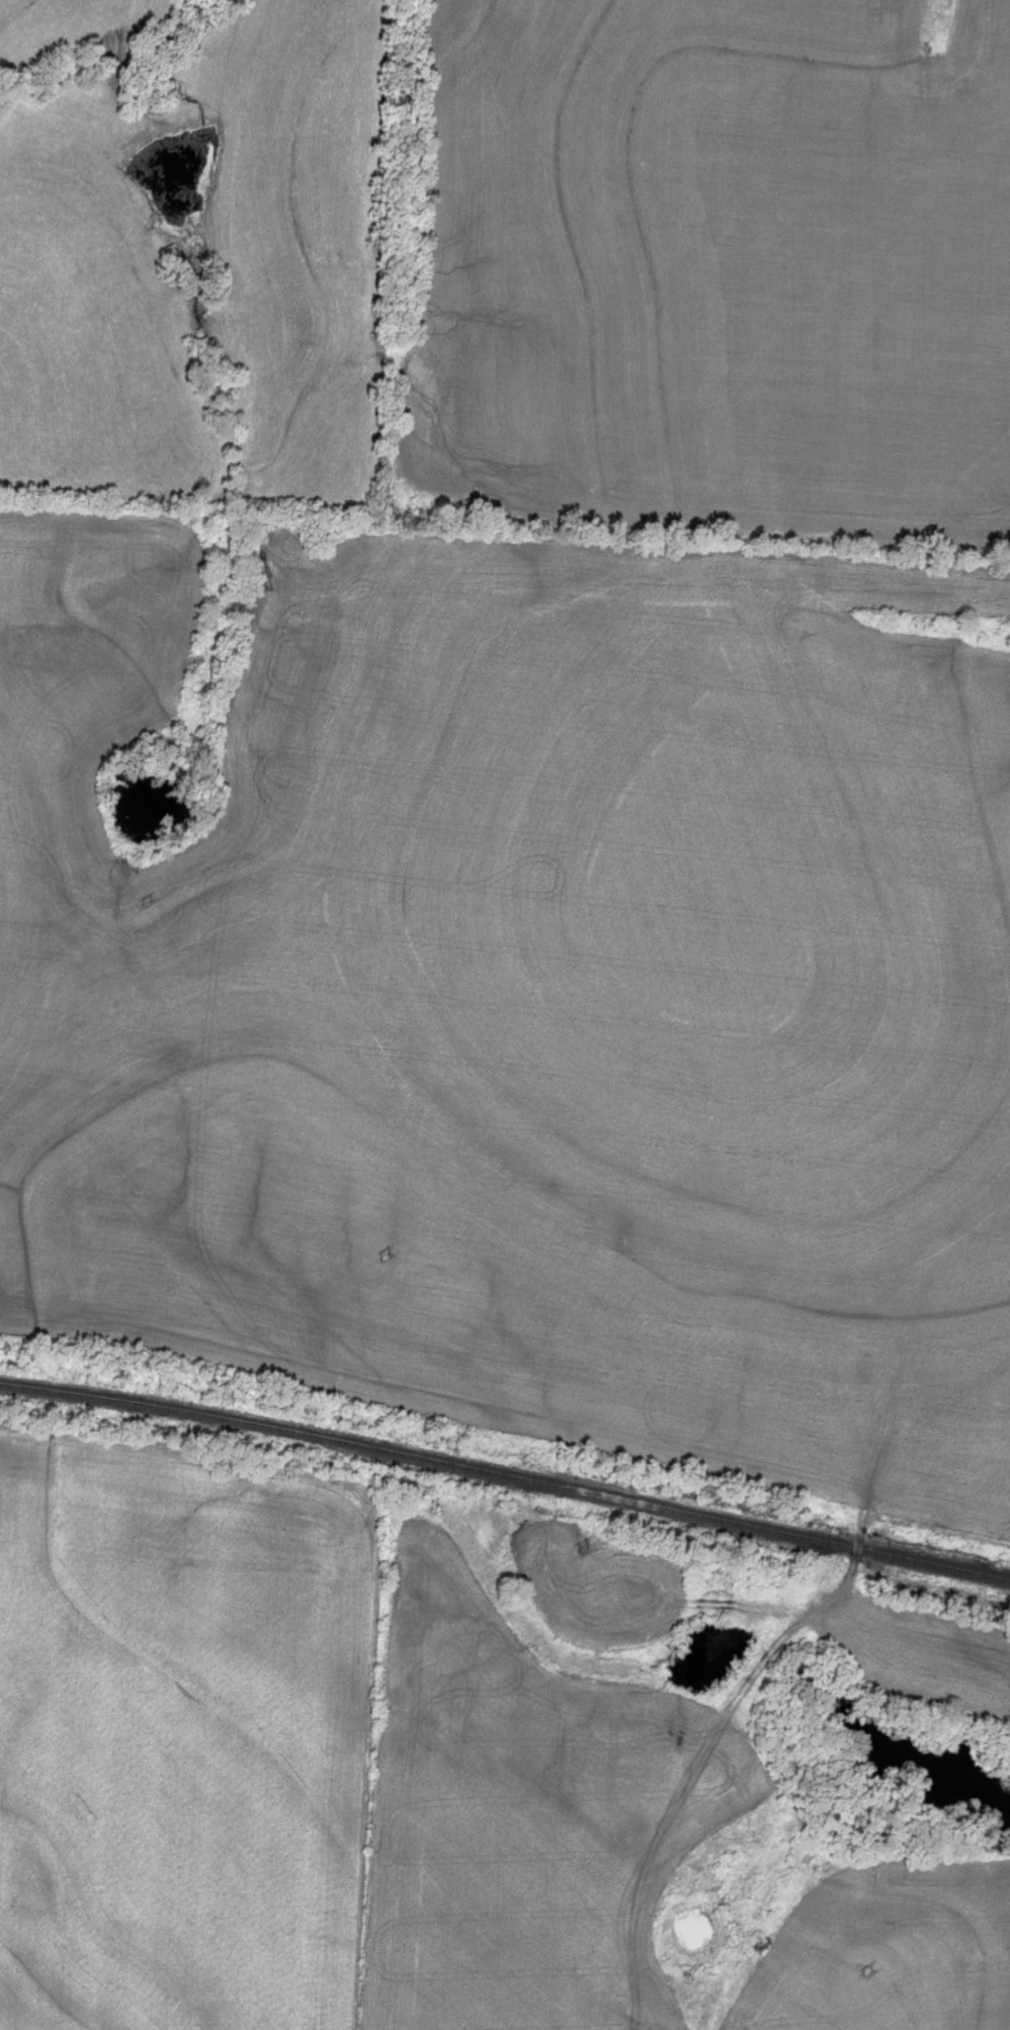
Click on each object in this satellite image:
railway: (506, 1479)

